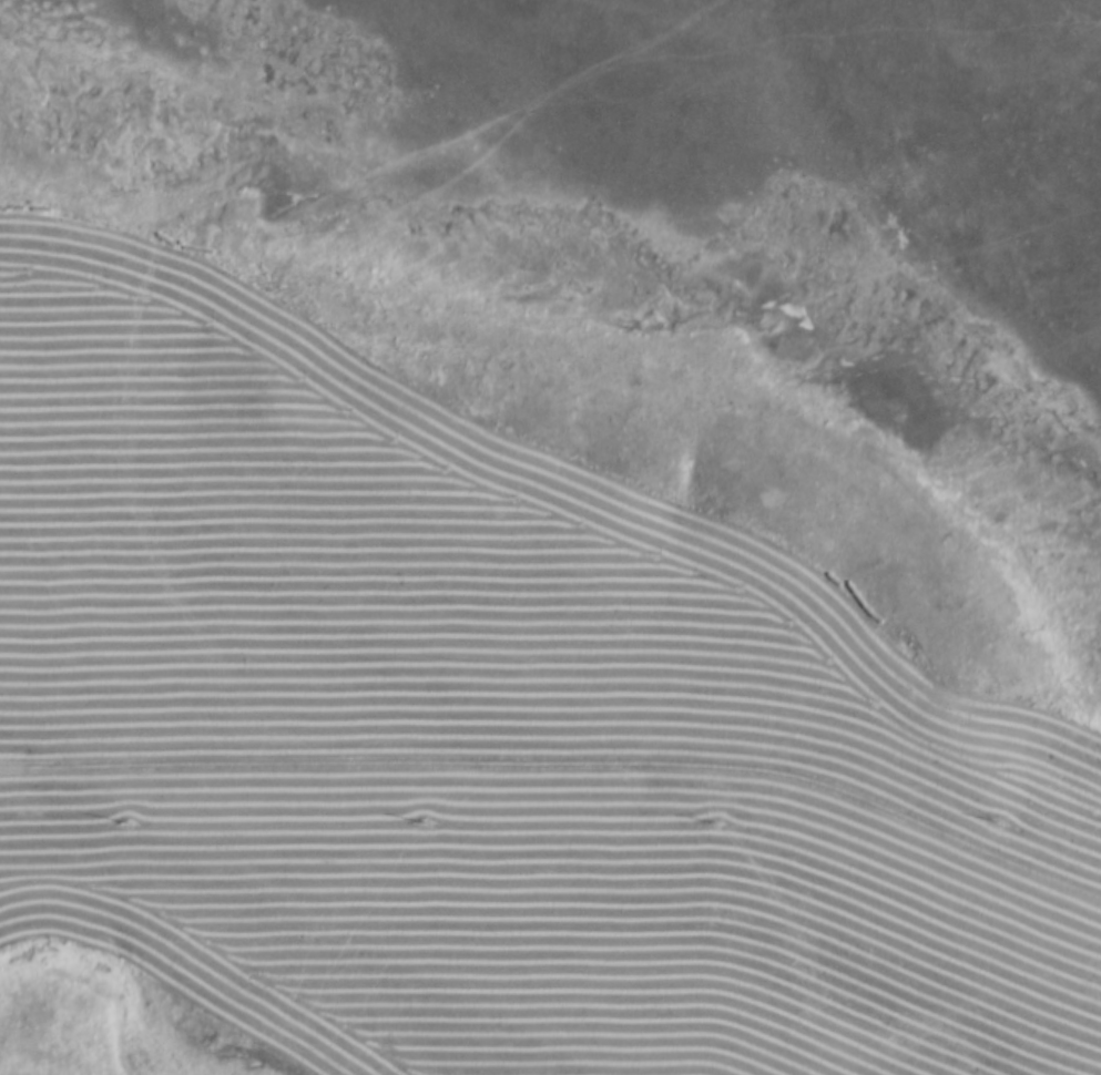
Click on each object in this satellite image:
road: (565, 759)

